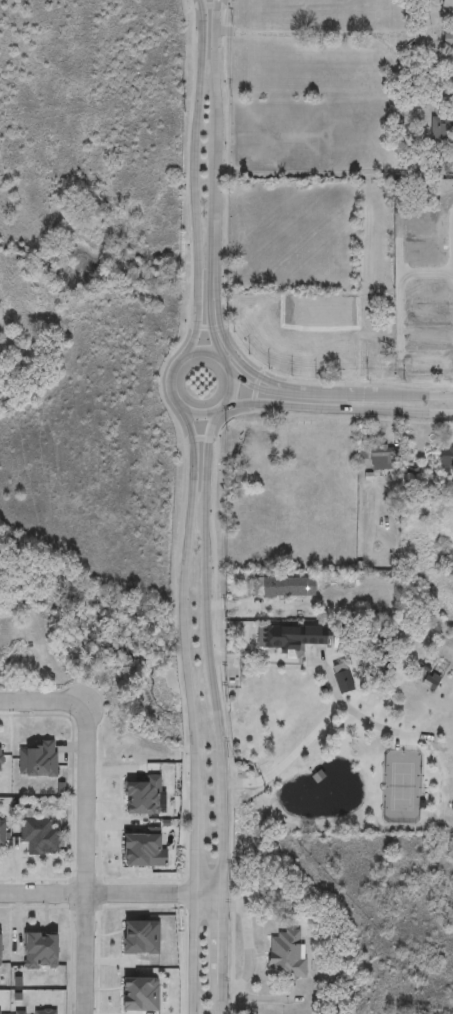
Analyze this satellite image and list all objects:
building: (446, 4)
road: (317, 36)
building: (448, 47)
road: (214, 58)
road: (319, 162)
road: (193, 181)
road: (212, 186)
road: (208, 309)
road: (226, 343)
road: (339, 394)
road: (337, 408)
road: (199, 414)
building: (255, 454)
building: (377, 458)
building: (446, 461)
building: (283, 588)
building: (292, 637)
road: (207, 651)
road: (321, 668)
road: (46, 702)
road: (190, 706)
road: (290, 758)
building: (2, 760)
building: (39, 761)
building: (1, 836)
building: (41, 836)
road: (86, 866)
road: (110, 893)
road: (220, 938)
building: (286, 956)
road: (220, 998)
building: (1, 1012)

